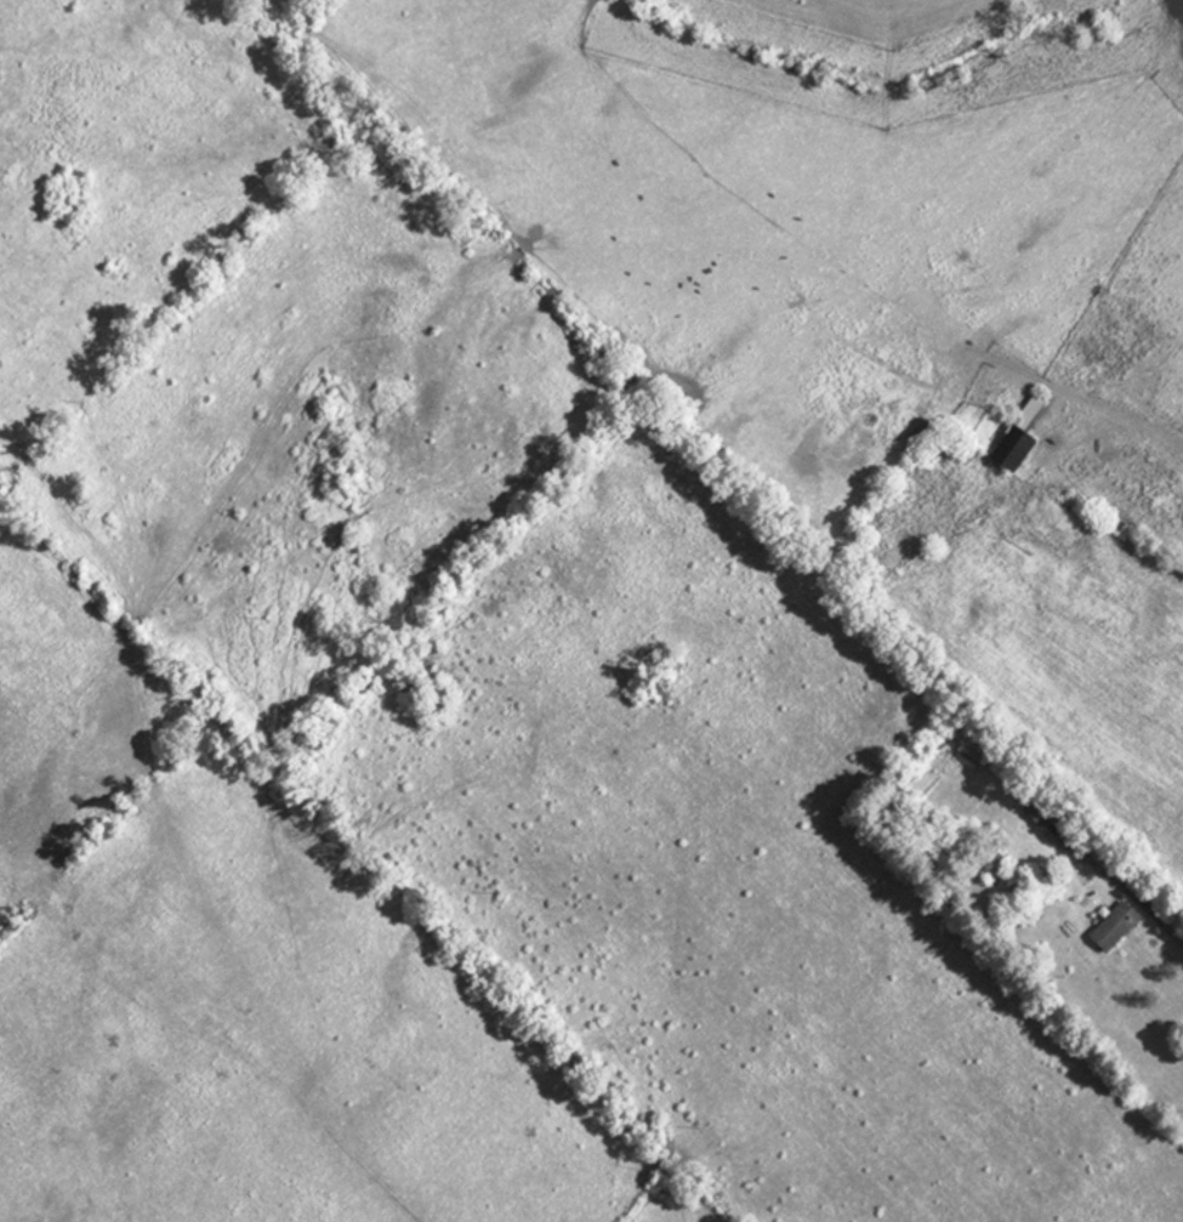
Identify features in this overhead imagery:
building: (1011, 441)
road: (1120, 459)
building: (1034, 813)
road: (1160, 922)
building: (1108, 930)

